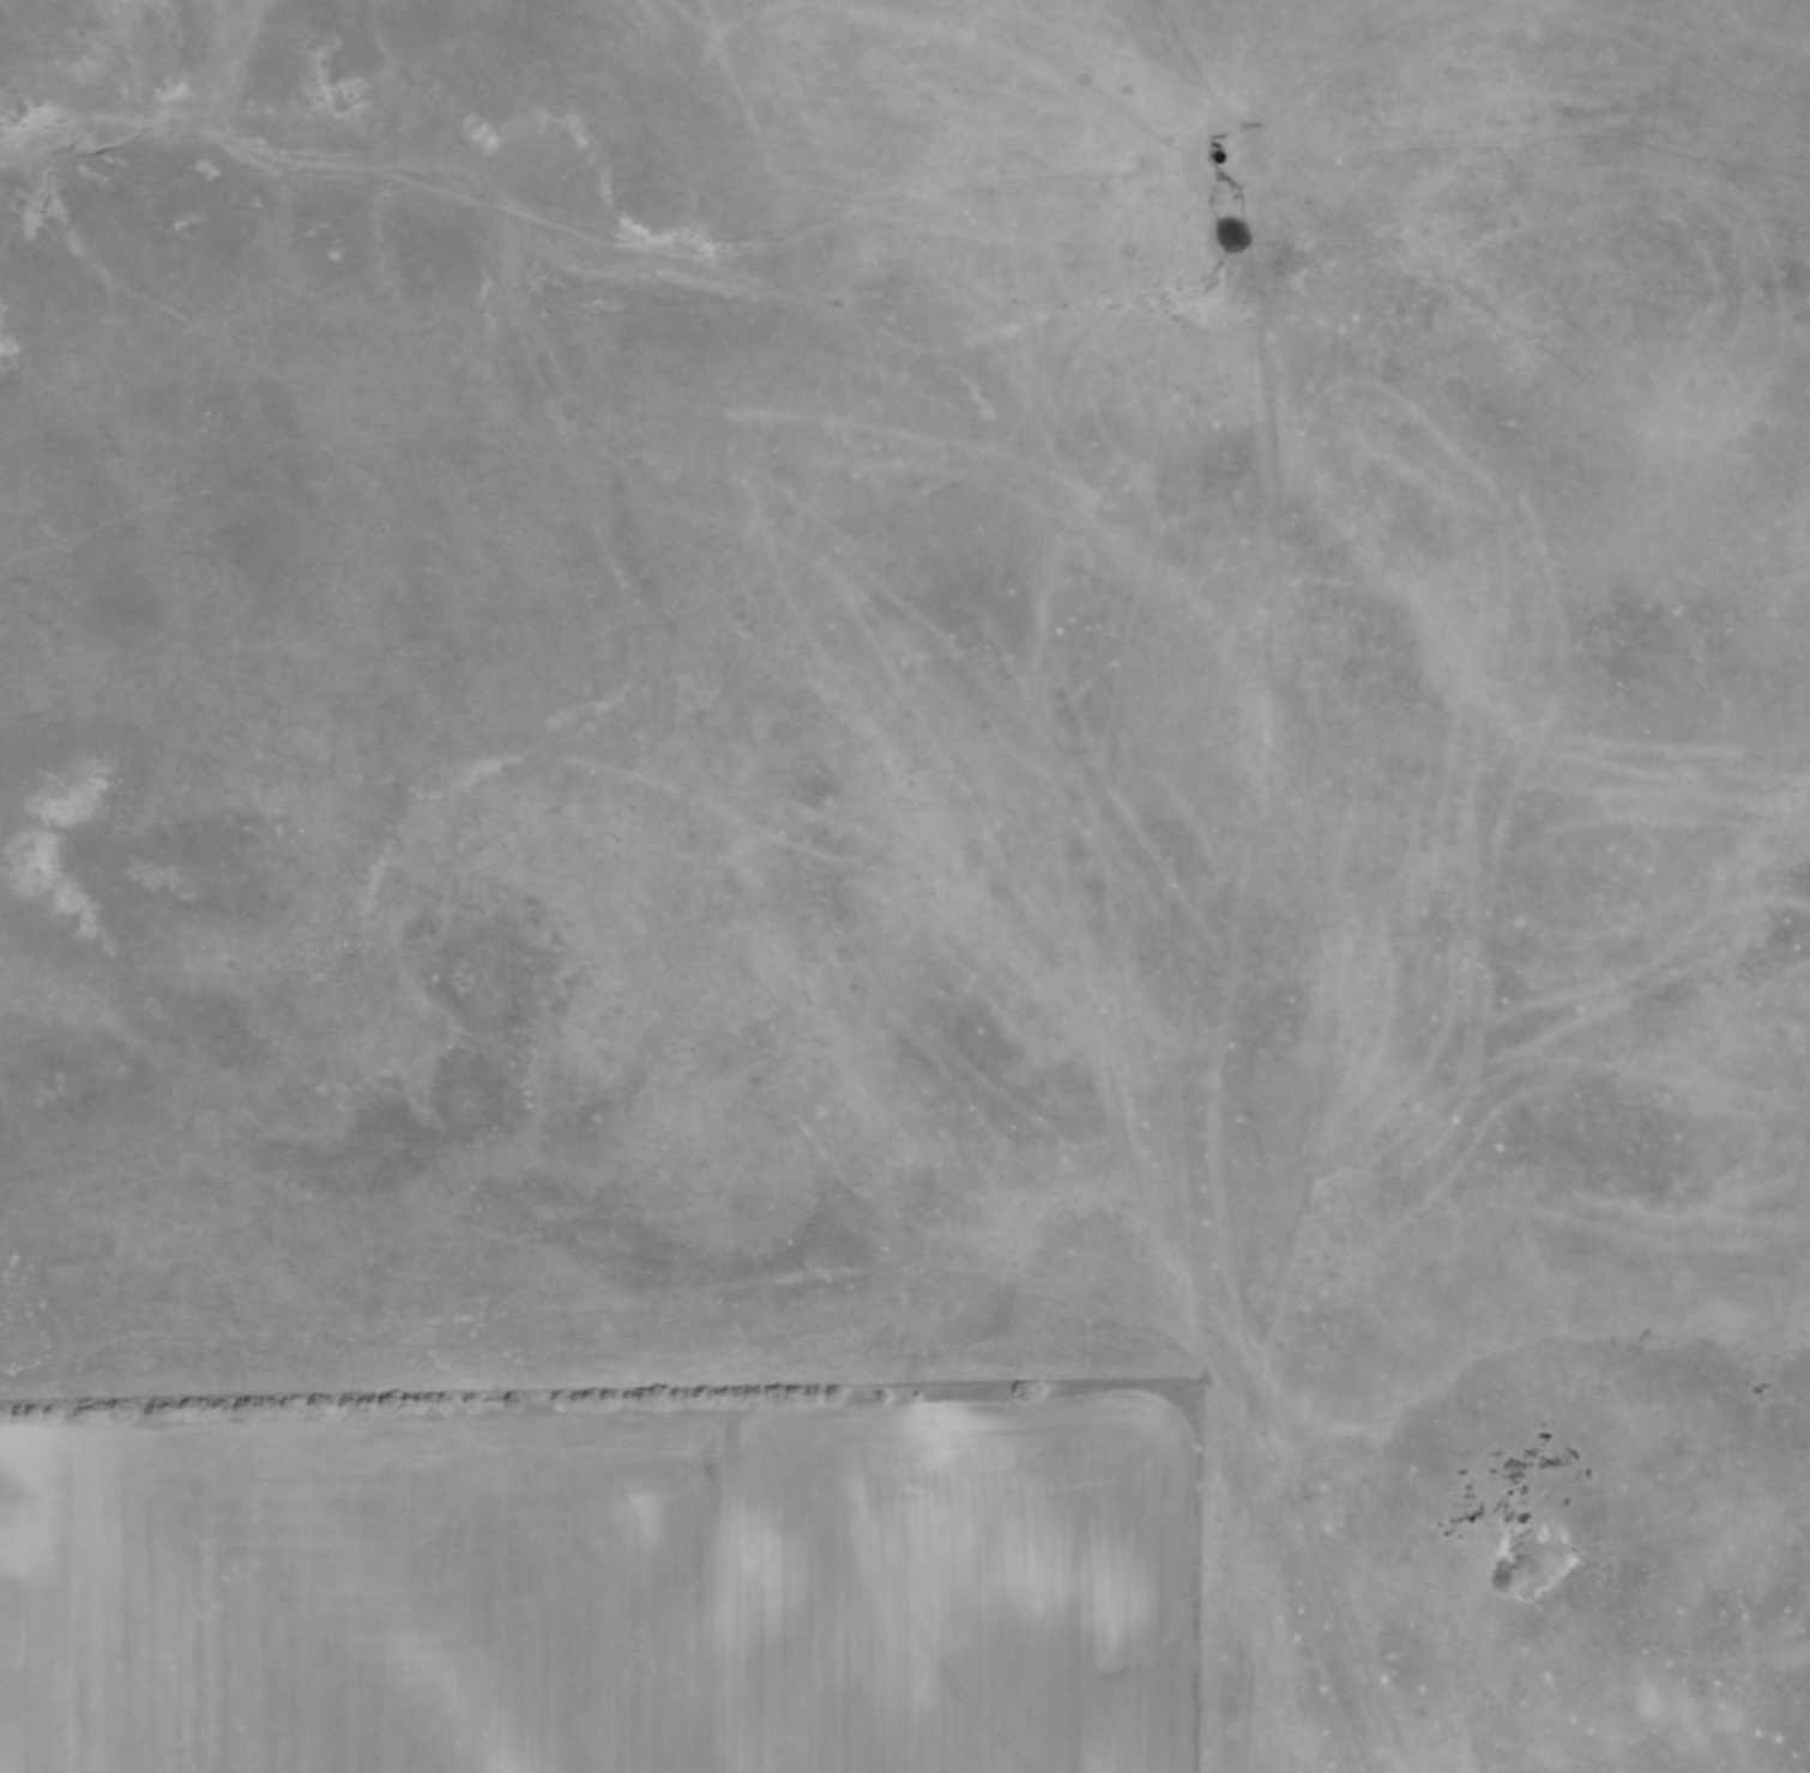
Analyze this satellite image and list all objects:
crop: (599, 1588)

